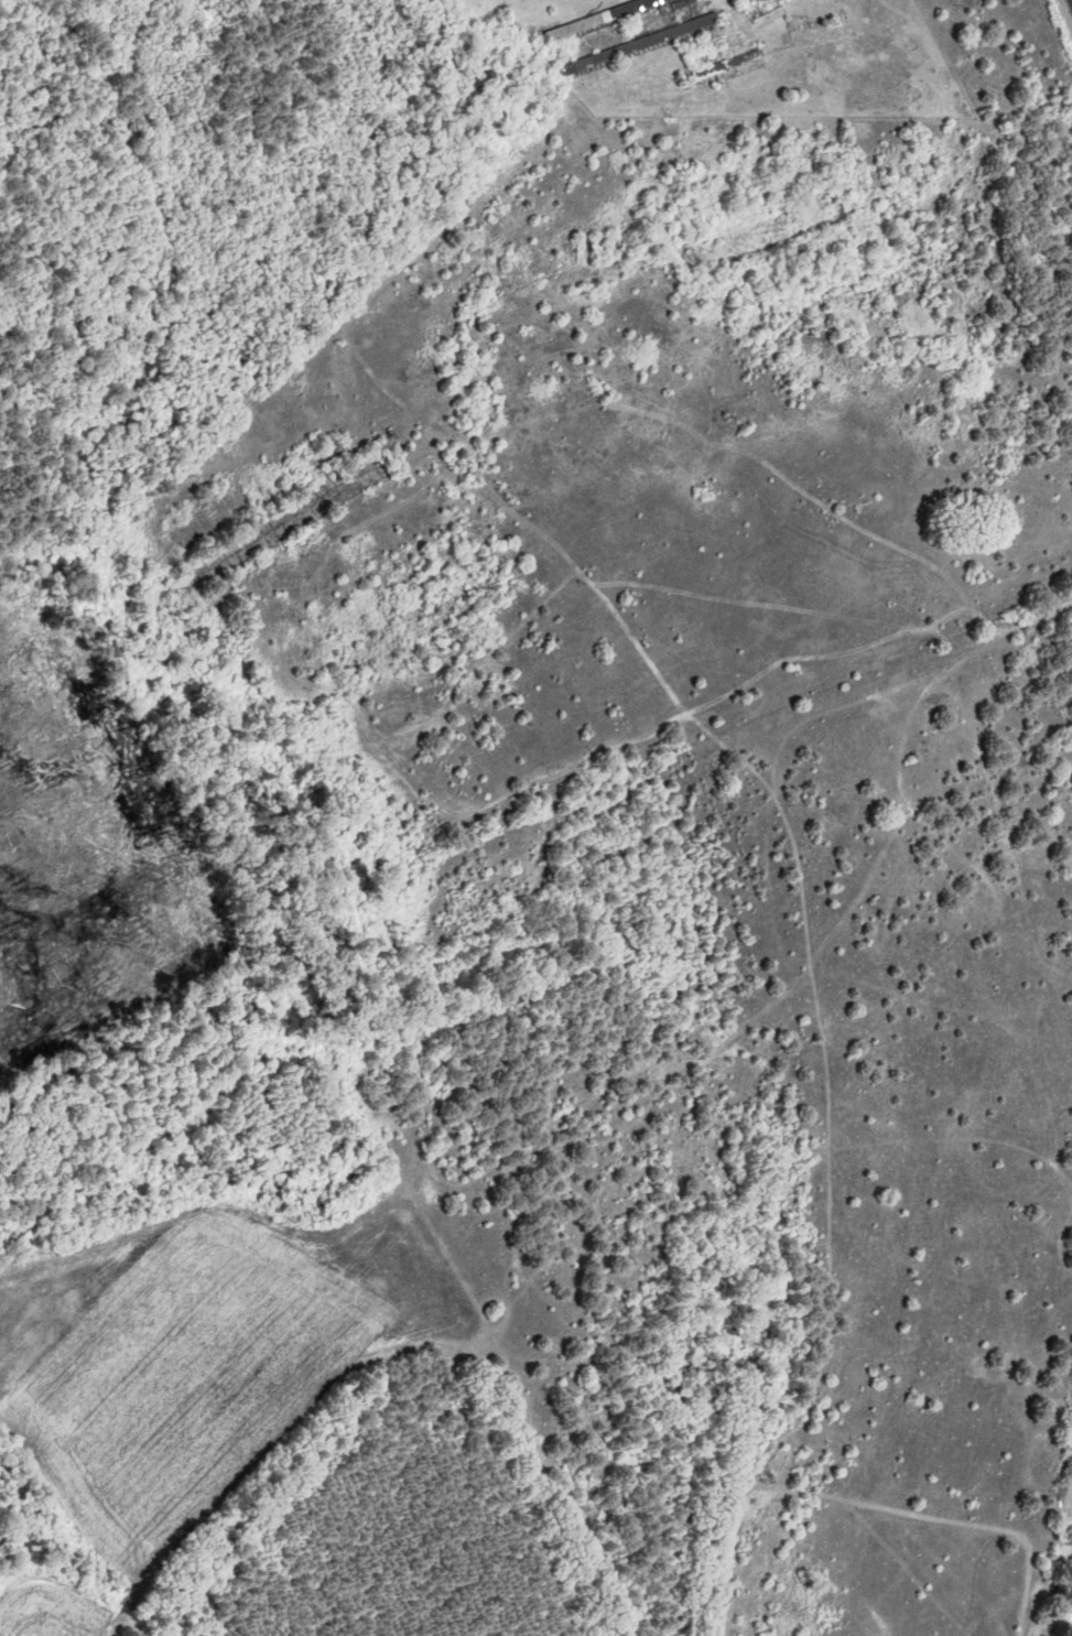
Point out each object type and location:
building: (608, 18)
building: (733, 66)
building: (325, 465)
building: (338, 487)

